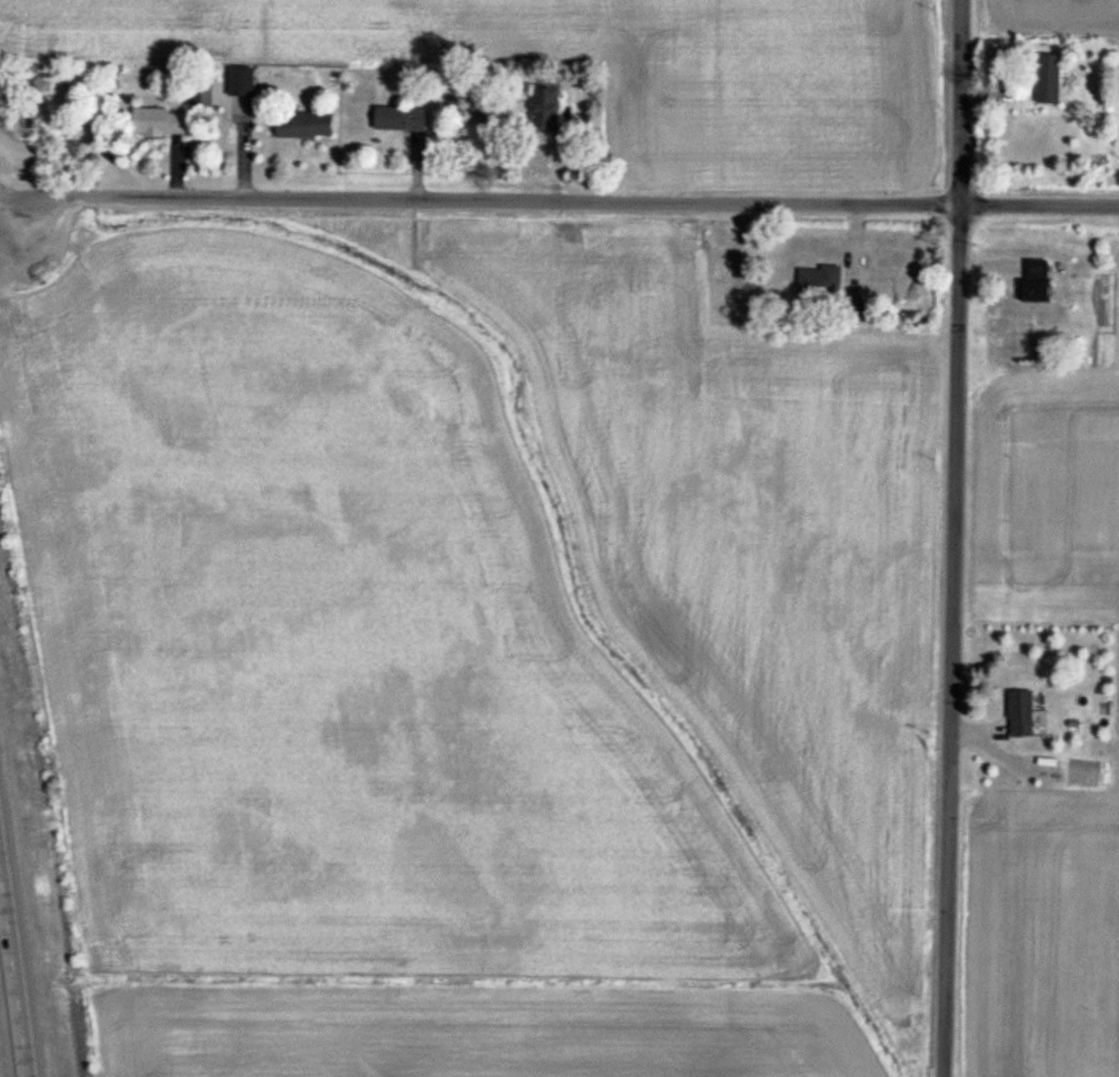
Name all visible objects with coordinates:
building: (1050, 80)
building: (38, 81)
building: (204, 94)
road: (958, 100)
building: (486, 109)
building: (546, 110)
building: (401, 120)
building: (160, 123)
building: (305, 125)
road: (568, 199)
road: (14, 210)
building: (1038, 281)
building: (829, 290)
road: (949, 638)
building: (1022, 714)
road: (16, 974)

